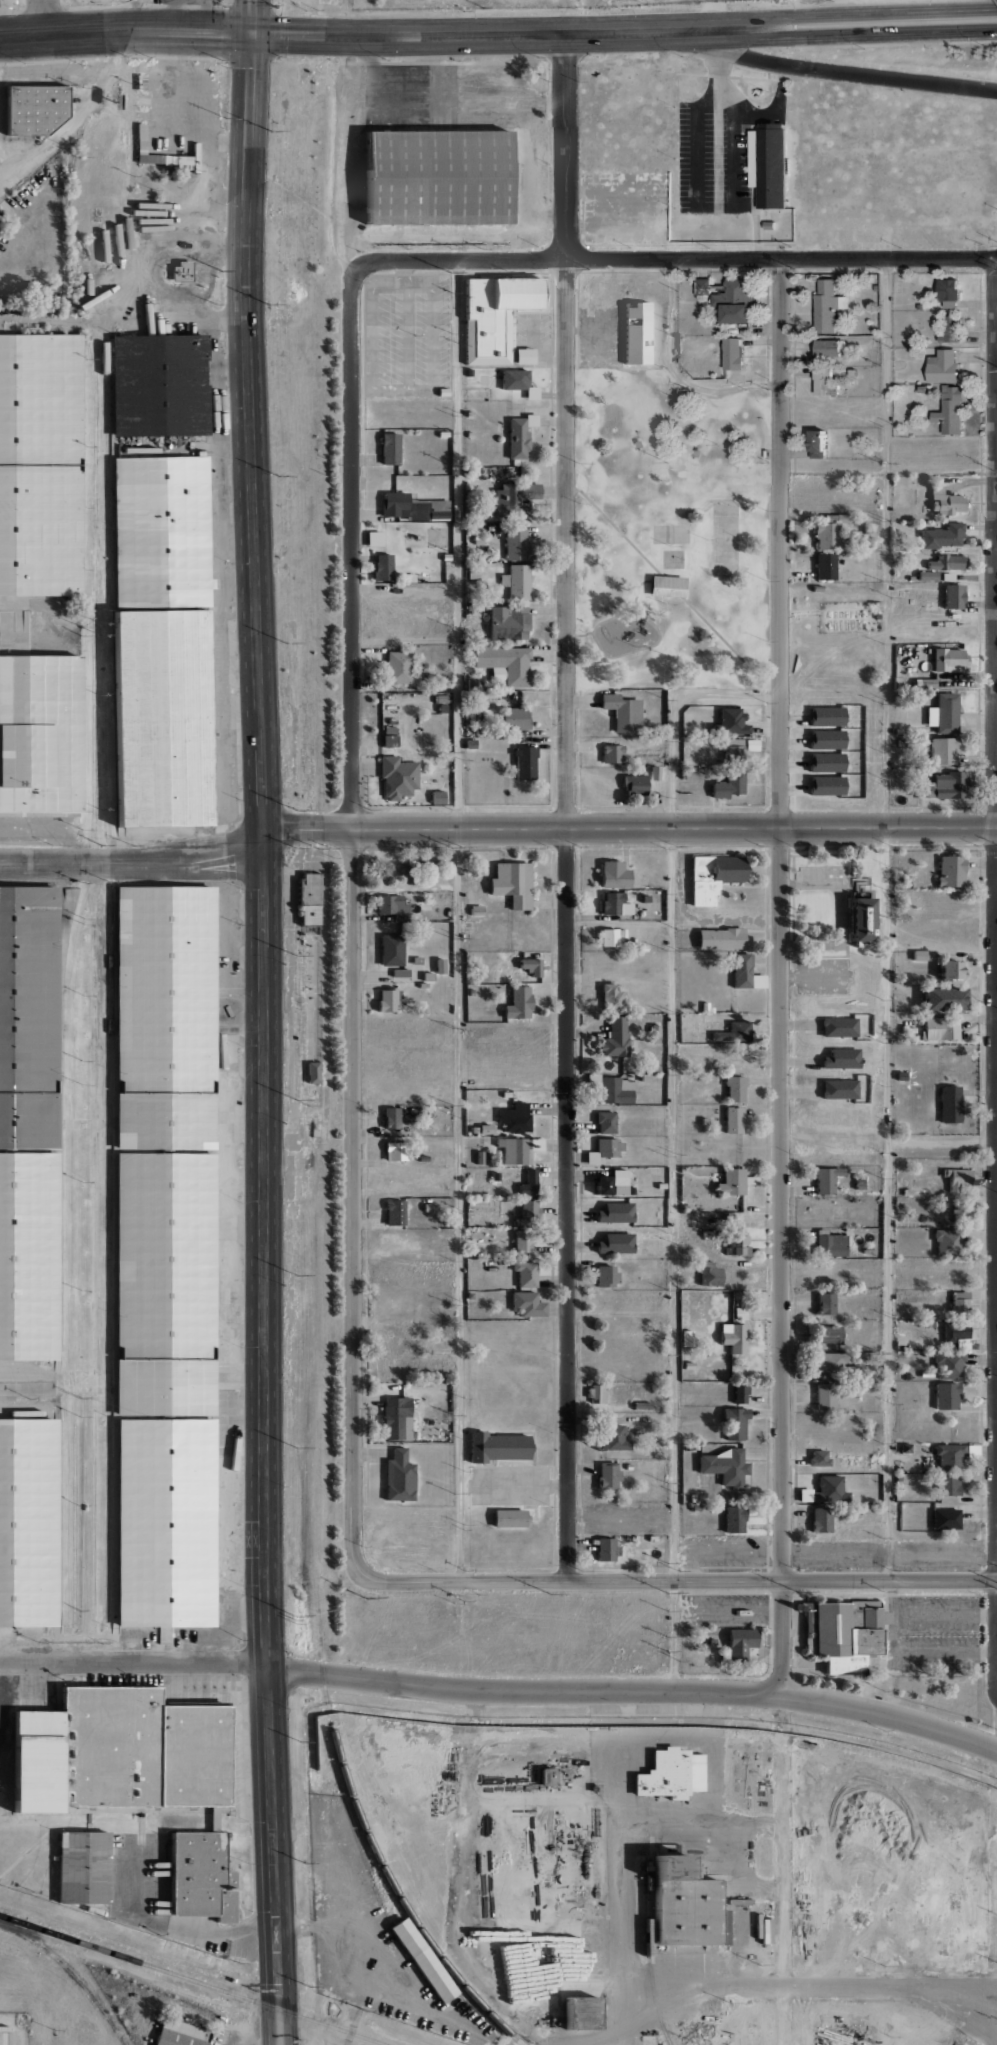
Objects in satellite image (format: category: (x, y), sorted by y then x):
road: (843, 14)
road: (44, 16)
road: (252, 16)
road: (126, 30)
road: (628, 31)
traffic signals: (253, 32)
road: (409, 35)
road: (843, 35)
road: (840, 72)
road: (740, 102)
road: (434, 104)
building: (37, 111)
building: (141, 139)
road: (565, 146)
parking lot: (710, 162)
building: (769, 164)
building: (448, 177)
road: (709, 210)
building: (773, 218)
road: (995, 255)
road: (779, 259)
road: (458, 260)
building: (181, 271)
building: (191, 273)
building: (875, 287)
building: (726, 291)
building: (947, 292)
building: (826, 305)
building: (919, 306)
building: (615, 311)
building: (736, 313)
building: (495, 314)
building: (950, 329)
building: (875, 331)
building: (638, 333)
building: (827, 348)
building: (732, 353)
building: (524, 355)
building: (852, 360)
building: (942, 367)
road: (674, 370)
building: (469, 371)
building: (852, 373)
building: (518, 382)
building: (824, 382)
building: (159, 388)
building: (921, 389)
building: (442, 391)
building: (950, 411)
building: (469, 413)
road: (255, 433)
building: (443, 433)
building: (469, 433)
building: (520, 435)
building: (818, 443)
building: (389, 447)
building: (40, 464)
building: (515, 495)
building: (946, 501)
building: (395, 503)
building: (428, 509)
building: (838, 517)
building: (490, 527)
building: (161, 530)
building: (497, 530)
park: (670, 532)
park: (668, 533)
building: (479, 534)
building: (827, 536)
building: (942, 537)
building: (374, 538)
park: (724, 538)
road: (994, 541)
building: (515, 544)
building: (873, 545)
building: (476, 548)
building: (446, 556)
park: (672, 557)
building: (480, 558)
building: (946, 561)
building: (382, 567)
building: (822, 567)
building: (473, 571)
building: (927, 575)
building: (948, 576)
building: (409, 577)
building: (911, 577)
building: (520, 579)
building: (668, 585)
building: (817, 587)
building: (953, 595)
building: (470, 608)
building: (877, 615)
building: (509, 622)
building: (949, 659)
building: (506, 660)
building: (398, 665)
building: (429, 677)
building: (472, 682)
building: (924, 683)
building: (441, 698)
building: (443, 707)
building: (622, 711)
building: (947, 712)
building: (826, 715)
building: (931, 716)
building: (164, 718)
building: (515, 718)
building: (392, 720)
building: (736, 721)
building: (390, 729)
building: (899, 730)
building: (479, 731)
building: (41, 733)
building: (826, 738)
building: (389, 740)
building: (471, 743)
building: (734, 744)
building: (752, 744)
building: (943, 749)
building: (611, 753)
building: (826, 761)
building: (525, 762)
building: (655, 773)
building: (398, 776)
building: (633, 782)
building: (728, 783)
building: (448, 784)
building: (949, 784)
building: (826, 785)
building: (438, 797)
road: (630, 827)
road: (996, 827)
road: (135, 861)
building: (950, 870)
building: (614, 874)
building: (713, 875)
building: (512, 883)
building: (611, 901)
building: (310, 902)
building: (389, 903)
building: (477, 910)
building: (427, 913)
road: (567, 919)
building: (863, 919)
road: (887, 919)
road: (459, 920)
road: (352, 924)
building: (609, 937)
building: (720, 937)
building: (391, 949)
building: (921, 955)
building: (531, 964)
building: (440, 965)
building: (950, 969)
building: (409, 971)
building: (745, 973)
building: (428, 976)
road: (780, 978)
building: (424, 984)
building: (471, 991)
building: (611, 995)
building: (944, 998)
building: (388, 999)
building: (518, 1000)
building: (705, 1006)
building: (710, 1009)
building: (28, 1016)
building: (166, 1017)
building: (725, 1017)
building: (939, 1027)
building: (904, 1028)
building: (911, 1030)
building: (733, 1032)
building: (613, 1037)
building: (313, 1071)
building: (901, 1075)
building: (734, 1088)
building: (616, 1089)
building: (950, 1104)
building: (390, 1117)
building: (517, 1119)
building: (733, 1119)
building: (704, 1120)
building: (605, 1121)
building: (486, 1127)
building: (475, 1129)
road: (674, 1144)
building: (609, 1148)
building: (396, 1150)
building: (516, 1150)
building: (424, 1157)
building: (479, 1157)
building: (496, 1175)
building: (620, 1177)
building: (957, 1177)
building: (826, 1178)
building: (751, 1180)
building: (733, 1181)
building: (528, 1184)
building: (859, 1184)
building: (601, 1185)
building: (906, 1191)
road: (995, 1203)
building: (427, 1205)
building: (684, 1207)
building: (395, 1211)
building: (962, 1212)
building: (615, 1213)
building: (527, 1214)
building: (707, 1233)
building: (970, 1236)
building: (522, 1240)
building: (948, 1241)
building: (617, 1242)
building: (736, 1242)
building: (830, 1243)
building: (867, 1249)
building: (29, 1256)
building: (709, 1272)
building: (526, 1273)
building: (606, 1275)
building: (165, 1283)
building: (960, 1302)
building: (529, 1303)
building: (826, 1303)
building: (752, 1312)
building: (955, 1330)
building: (829, 1334)
building: (733, 1336)
building: (687, 1338)
building: (962, 1343)
building: (927, 1353)
building: (829, 1361)
building: (949, 1364)
building: (688, 1365)
building: (926, 1373)
building: (596, 1392)
building: (739, 1394)
building: (825, 1395)
building: (946, 1395)
building: (642, 1405)
building: (396, 1418)
building: (736, 1422)
building: (638, 1431)
building: (614, 1436)
road: (268, 1439)
building: (688, 1446)
building: (501, 1447)
building: (906, 1447)
building: (949, 1456)
building: (817, 1457)
building: (723, 1465)
building: (629, 1466)
building: (929, 1468)
building: (397, 1475)
building: (607, 1476)
building: (899, 1477)
railway: (316, 1481)
building: (948, 1485)
building: (829, 1489)
building: (804, 1494)
building: (693, 1498)
building: (696, 1507)
building: (509, 1517)
building: (819, 1518)
building: (736, 1519)
building: (28, 1520)
building: (603, 1521)
building: (167, 1522)
building: (652, 1537)
building: (603, 1548)
parking lot: (723, 1550)
parking lot: (839, 1555)
parking lot: (935, 1555)
road: (996, 1579)
road: (674, 1580)
parking lot: (725, 1609)
road: (942, 1614)
road: (995, 1622)
building: (844, 1632)
parking lot: (937, 1633)
building: (741, 1646)
road: (907, 1651)
road: (133, 1662)
road: (634, 1691)
building: (136, 1774)
building: (671, 1774)
building: (548, 1776)
building: (595, 1787)
building: (85, 1866)
road: (625, 1888)
building: (684, 1904)
road: (781, 1913)
railway: (647, 1952)
building: (422, 1959)
railway: (71, 1973)
railway: (191, 1981)
building: (581, 2012)
building: (180, 2033)

